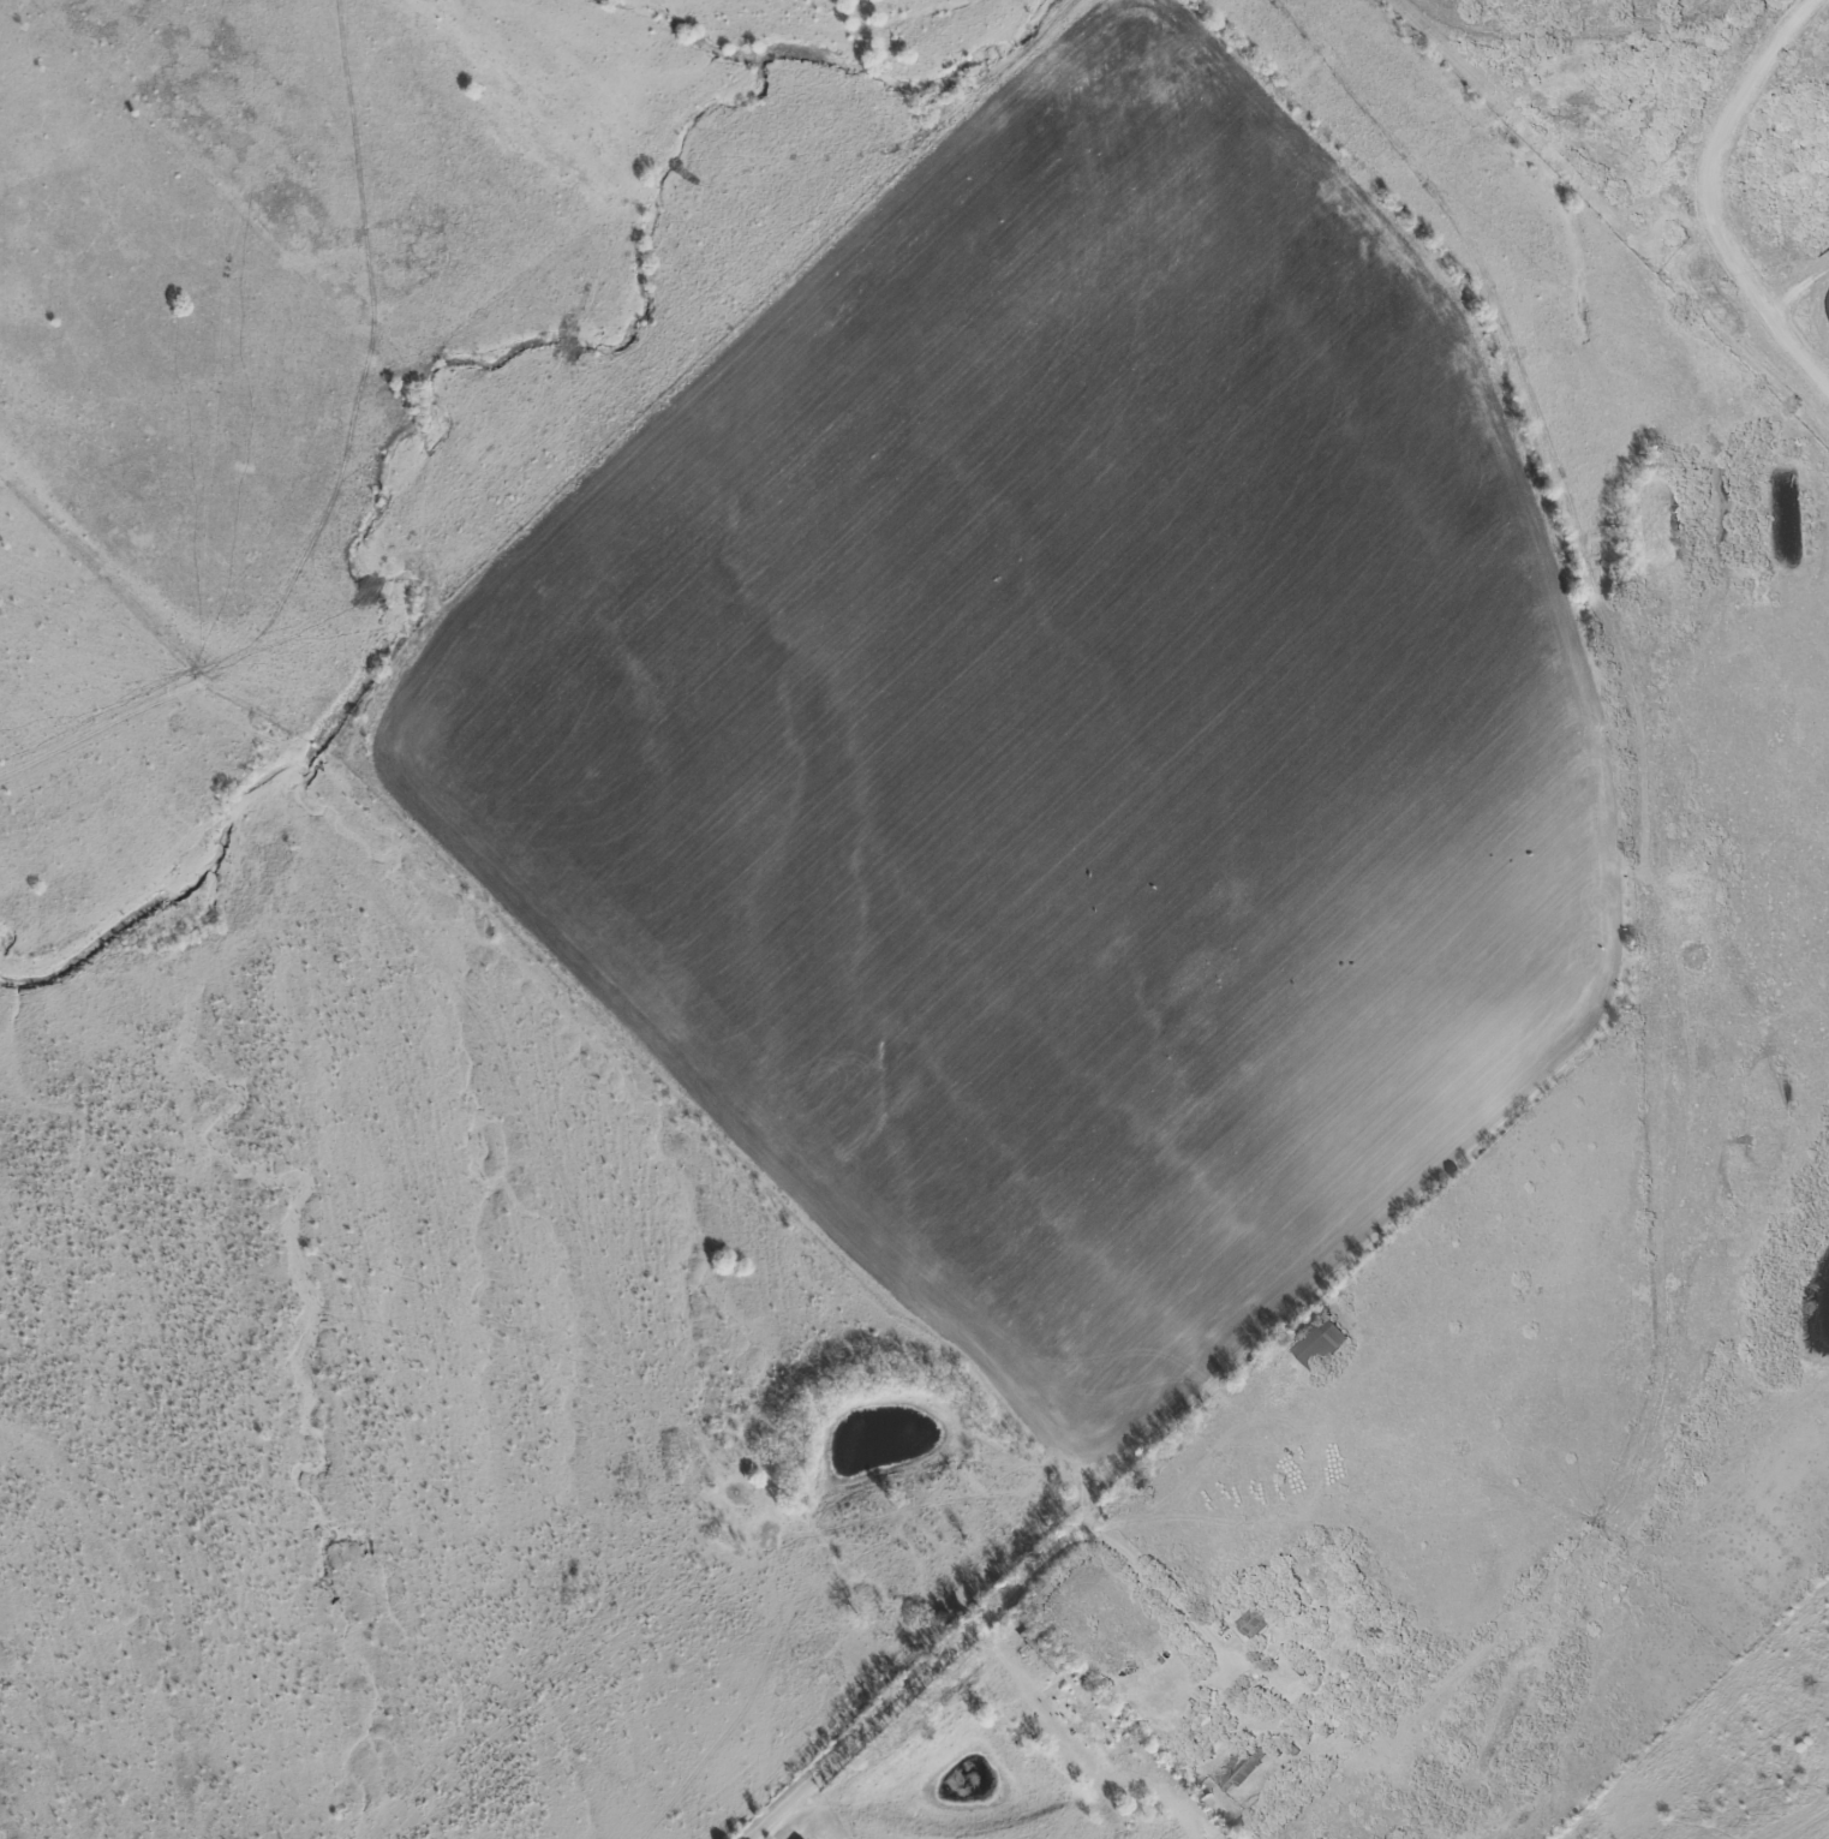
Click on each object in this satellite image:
landfill: (1662, 172)
building: (1316, 1344)
road: (1202, 1473)
road: (1152, 1581)
building: (1254, 1625)
road: (907, 1689)
building: (1237, 1771)

